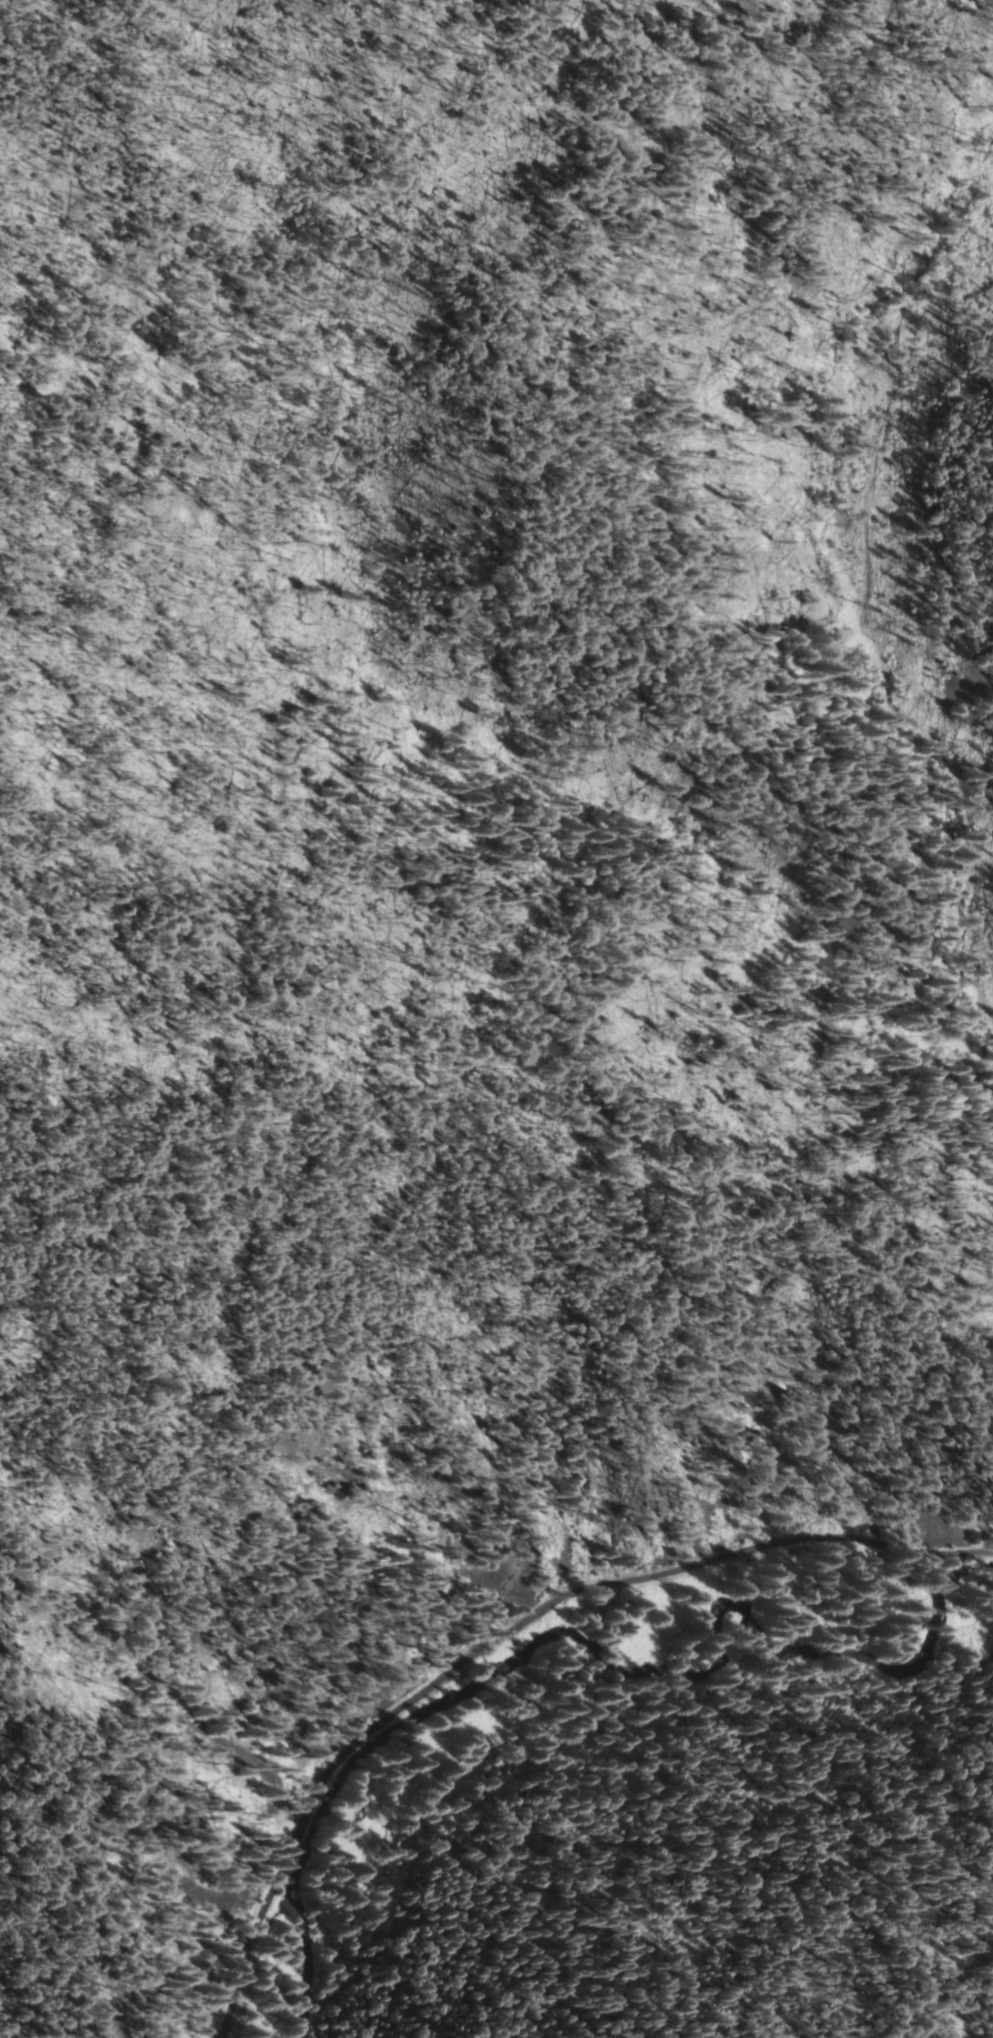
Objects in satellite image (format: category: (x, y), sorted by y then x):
road: (501, 1634)
river: (585, 1646)

